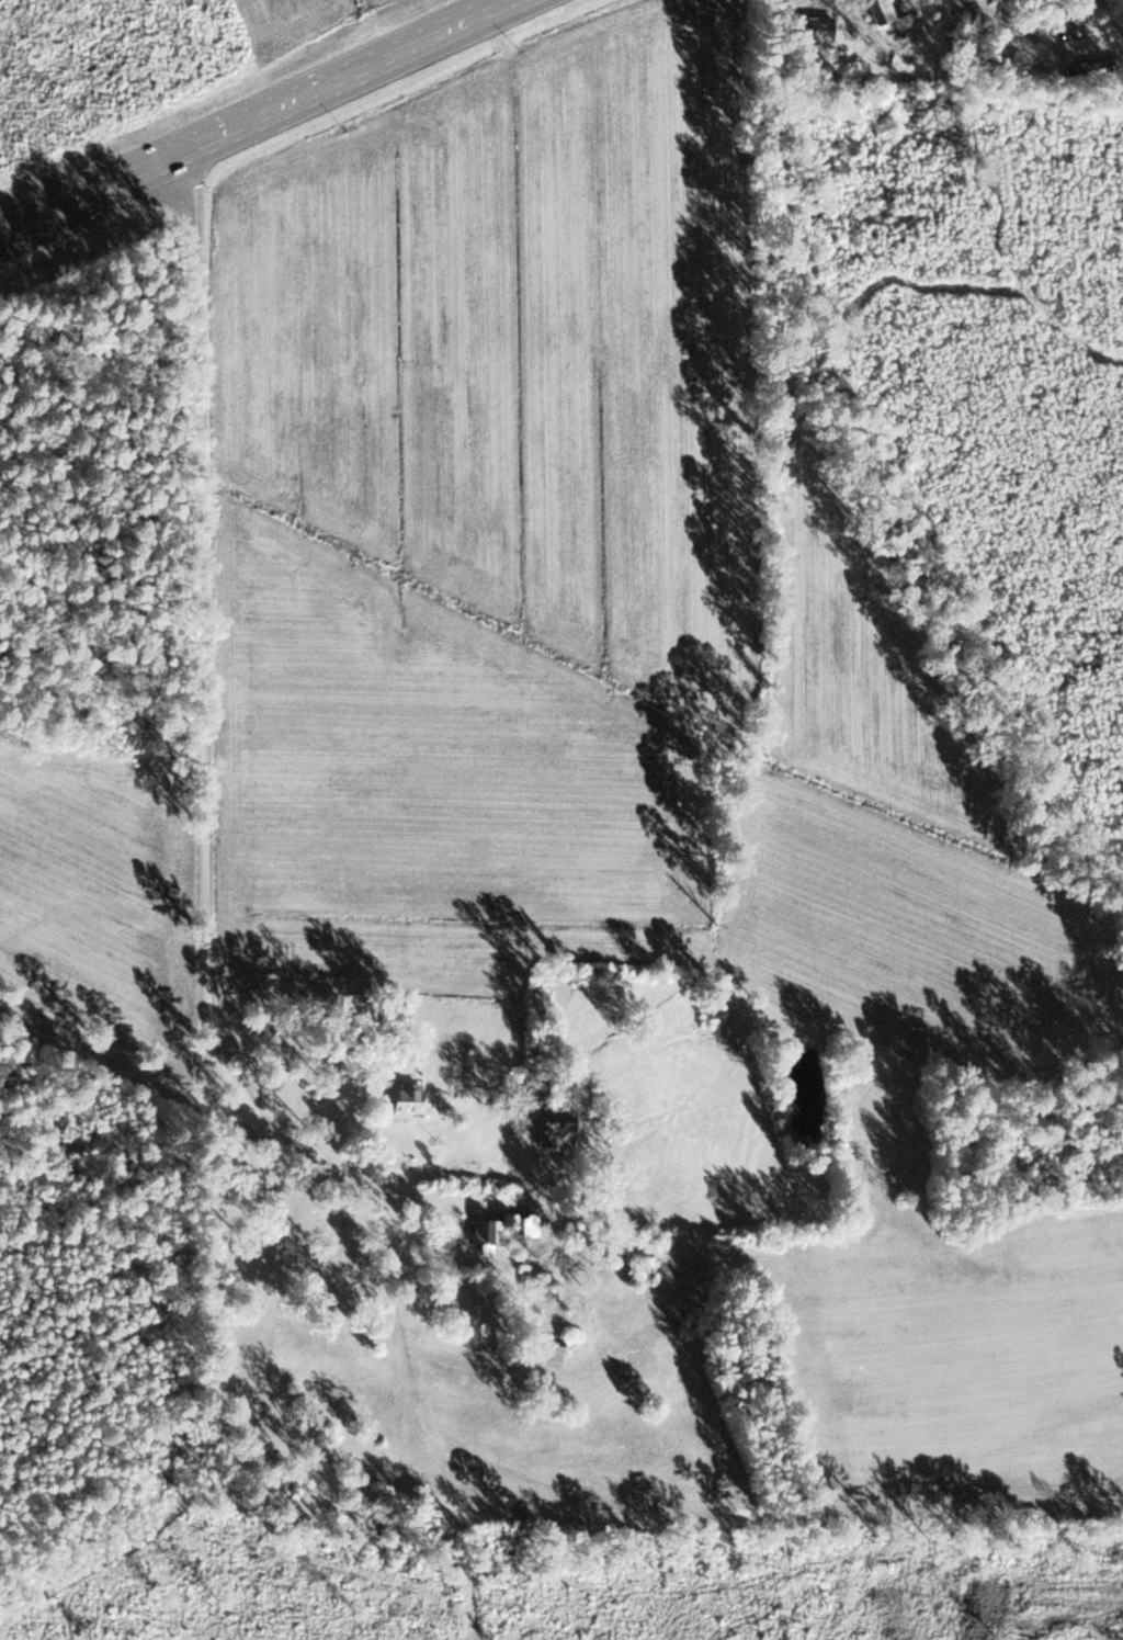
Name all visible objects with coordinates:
building: (885, 10)
road: (258, 123)
road: (201, 625)
road: (107, 1050)
building: (407, 1099)
building: (558, 1124)
building: (498, 1229)
building: (642, 1270)
building: (554, 1347)
road: (572, 1489)

